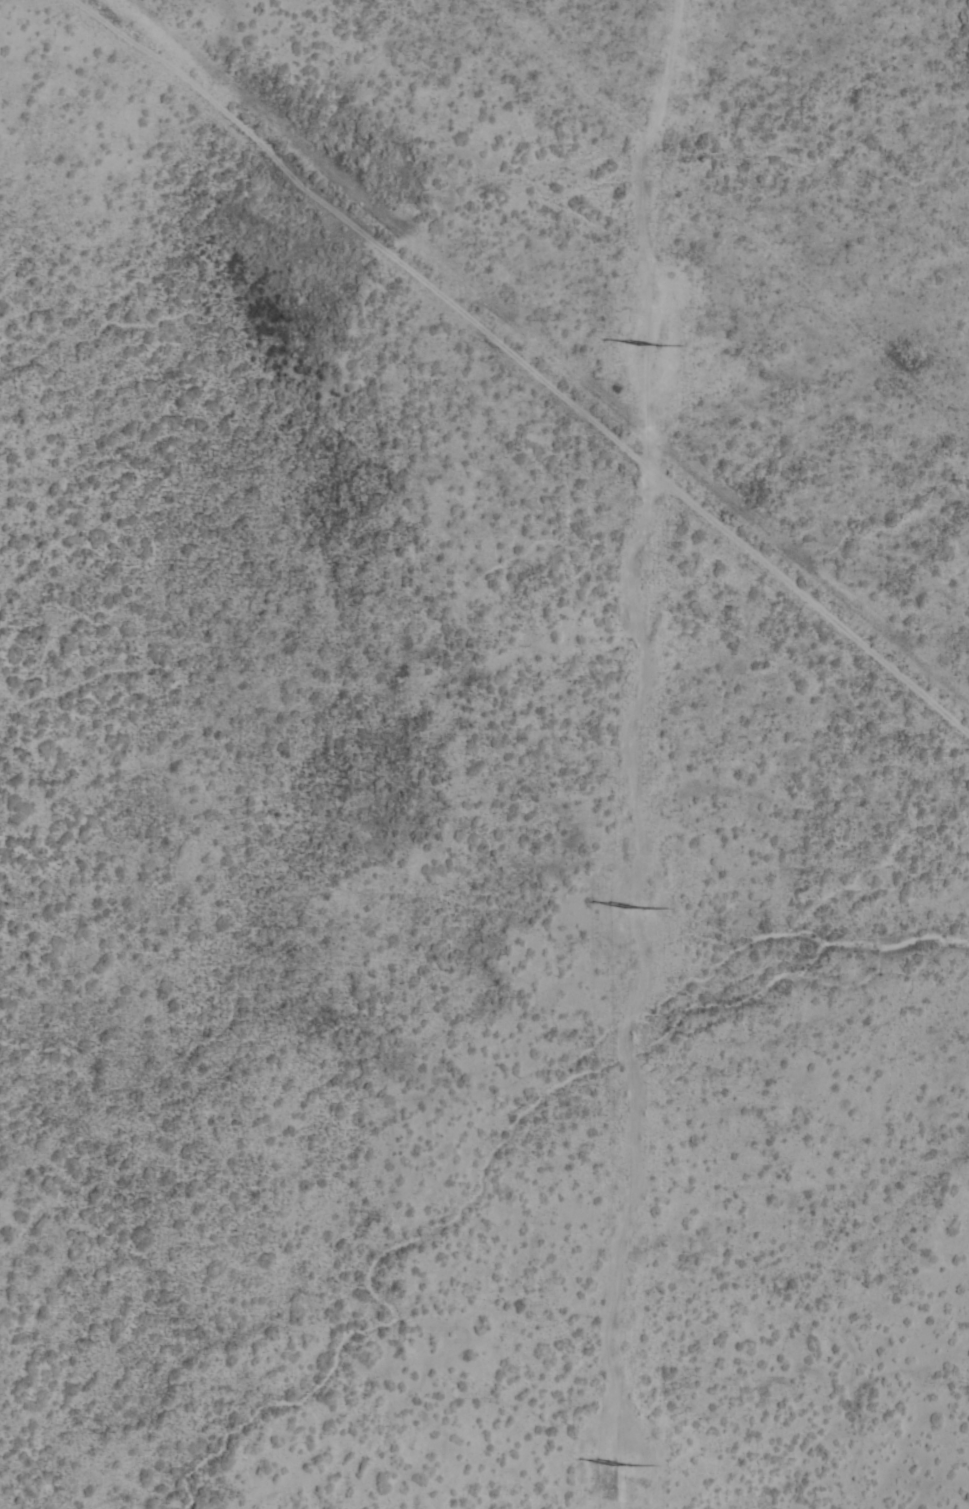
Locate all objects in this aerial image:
road: (815, 158)
power tower: (646, 349)
power tower: (627, 902)
power tower: (615, 1466)

